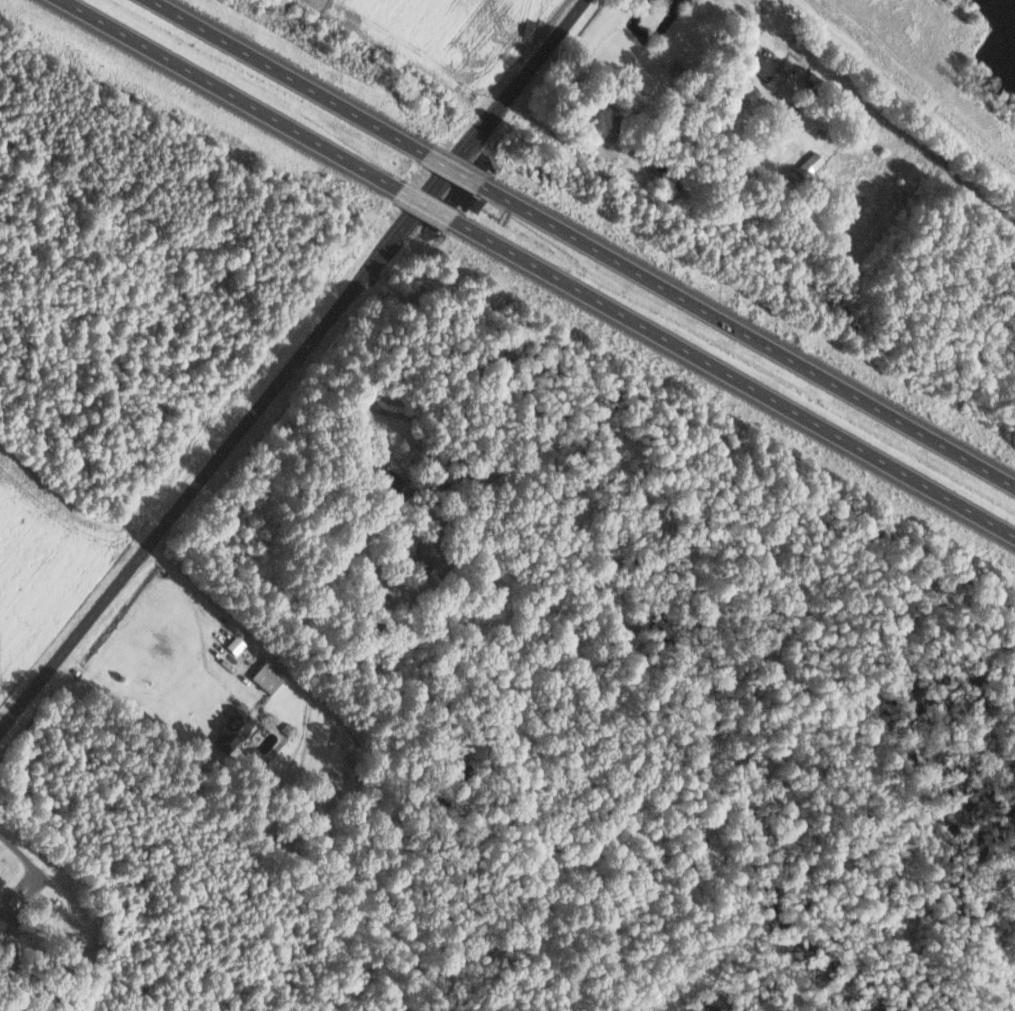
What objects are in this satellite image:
building: (767, 68)
road: (287, 77)
building: (818, 86)
road: (903, 92)
road: (228, 94)
road: (450, 169)
road: (422, 203)
road: (745, 335)
road: (292, 365)
road: (731, 377)
building: (237, 644)
building: (258, 675)
building: (236, 732)
road: (24, 857)

